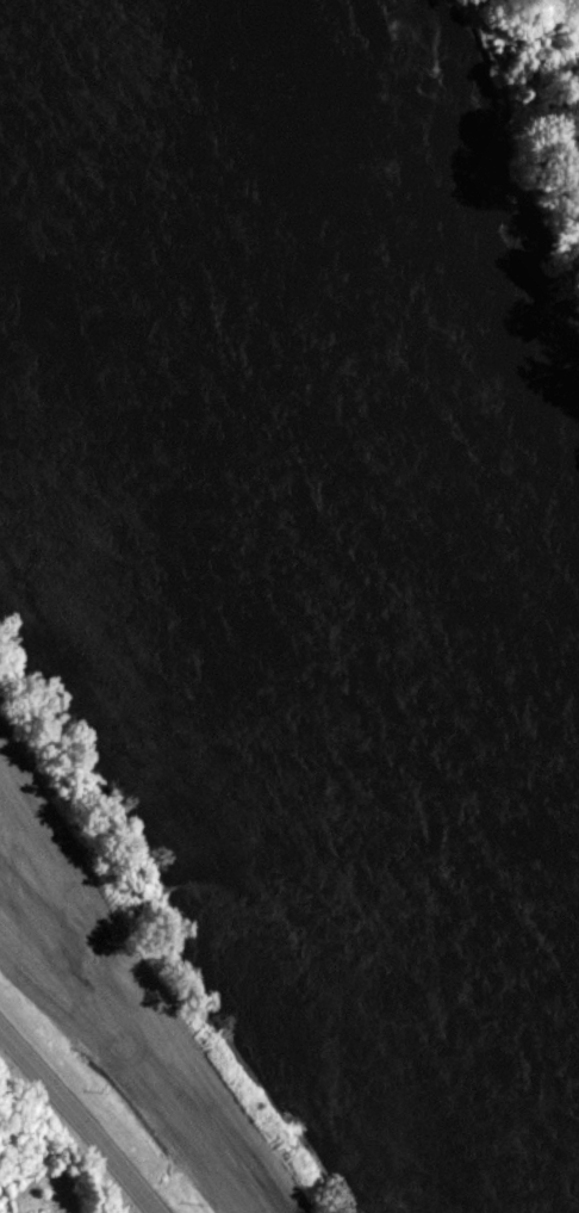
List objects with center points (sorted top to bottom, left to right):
river: (289, 539)
road: (77, 1125)

